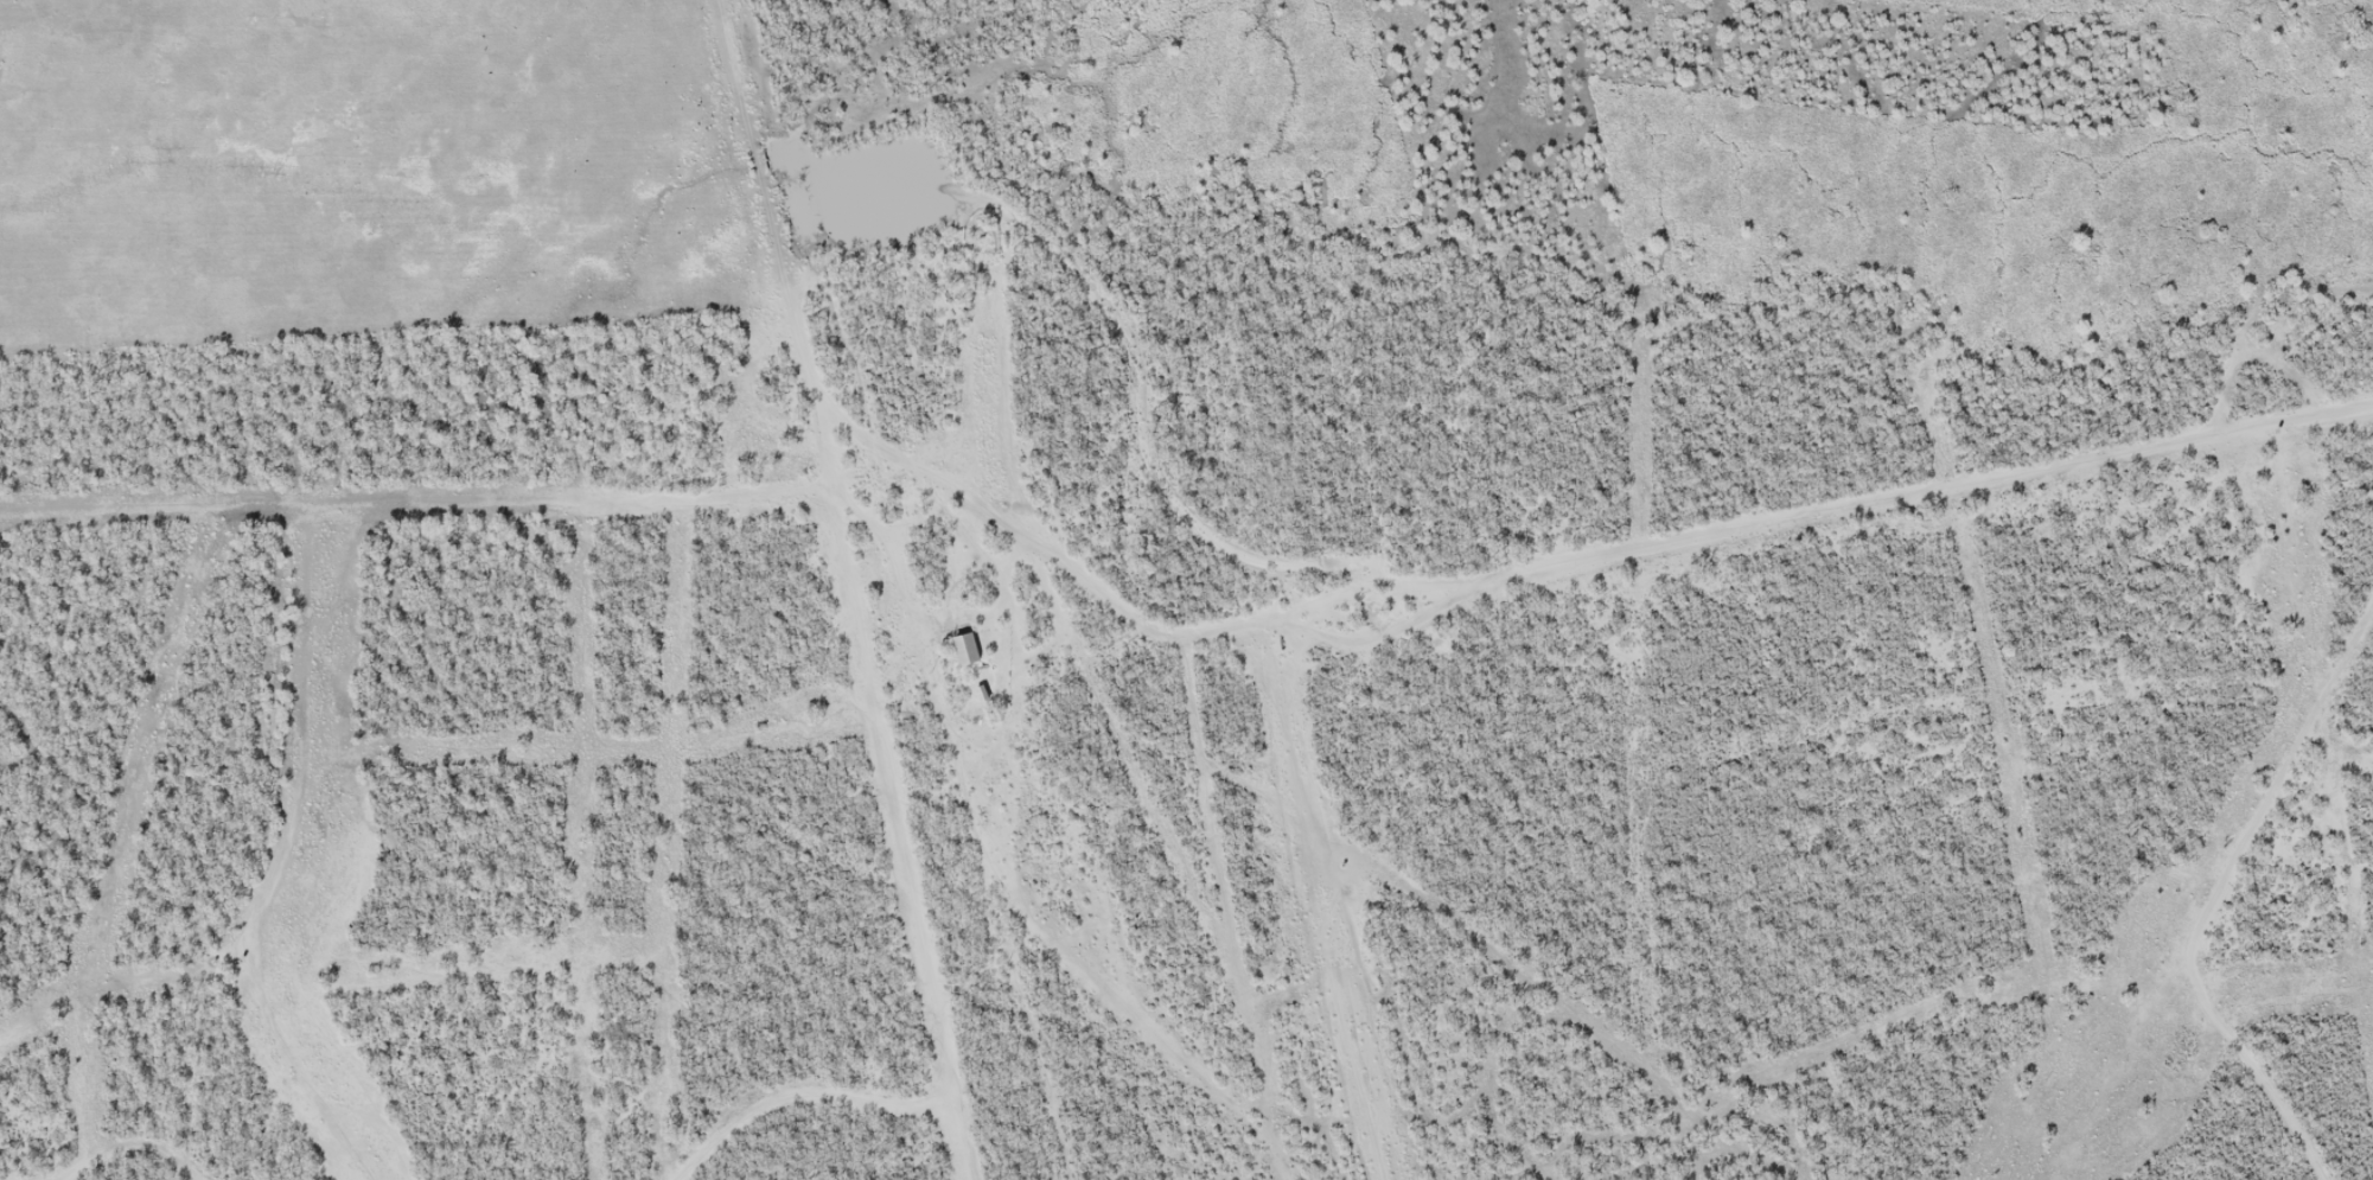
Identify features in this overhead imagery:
road: (847, 588)
building: (967, 649)

